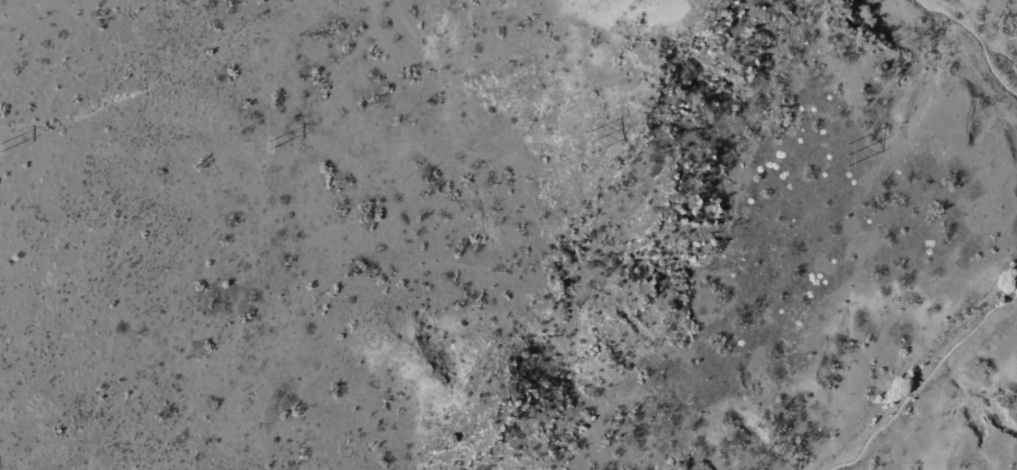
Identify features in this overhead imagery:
power tower: (269, 143)
power tower: (1, 147)
power tower: (592, 147)
power tower: (846, 153)

